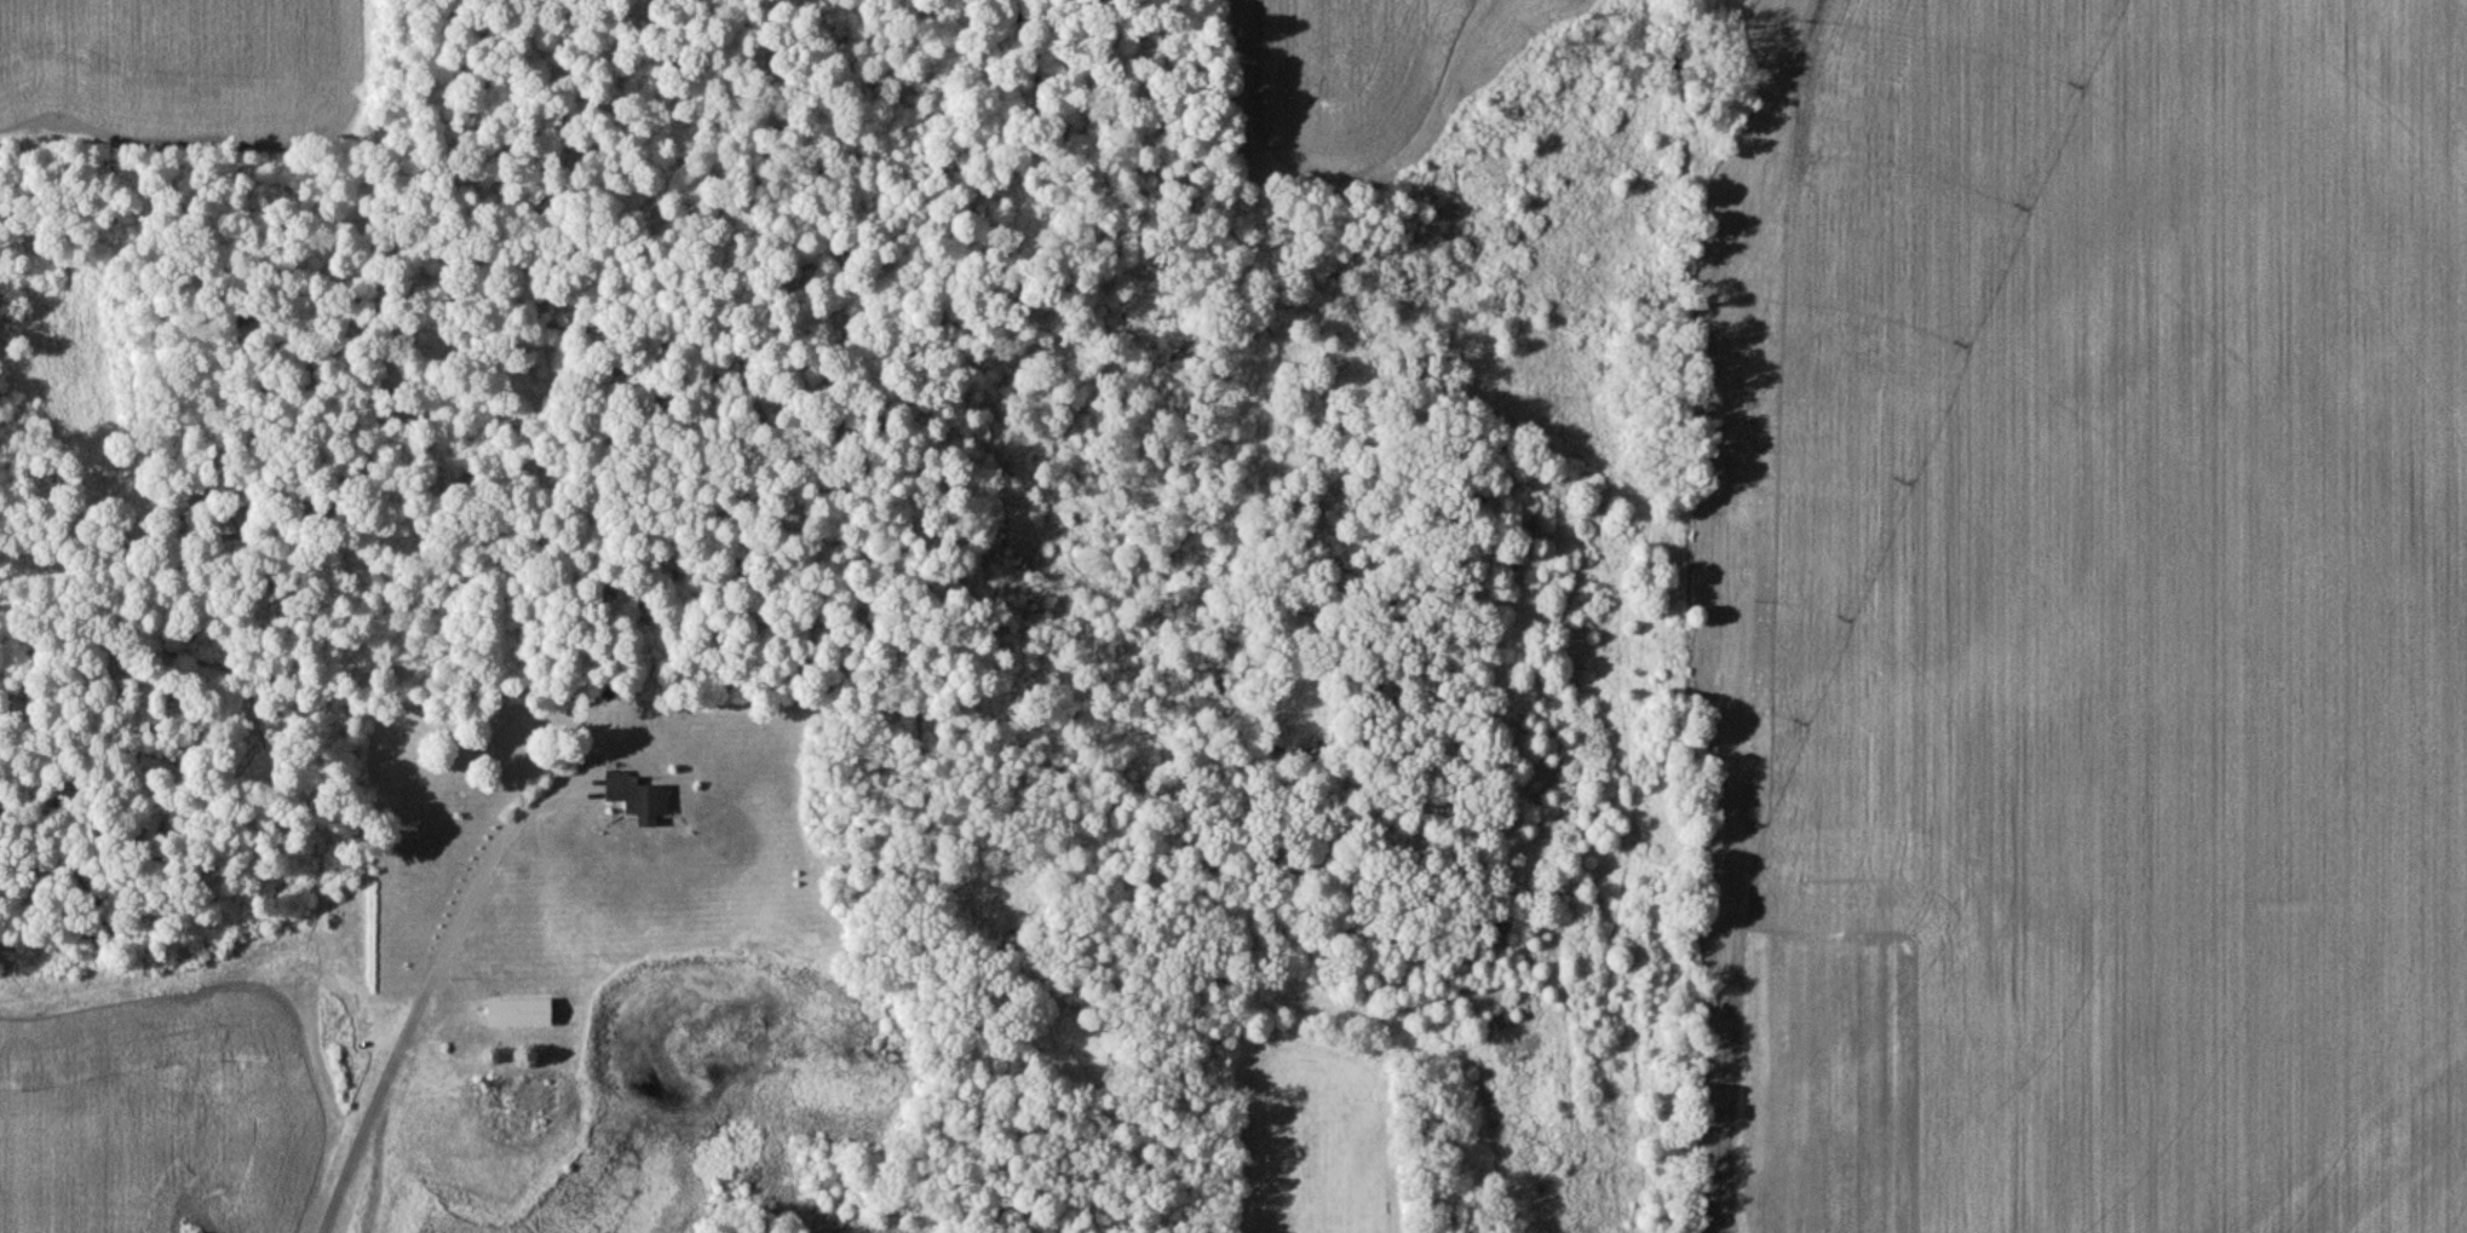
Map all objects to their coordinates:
building: (637, 795)
road: (425, 993)
building: (521, 1014)
road: (1850, 1232)

